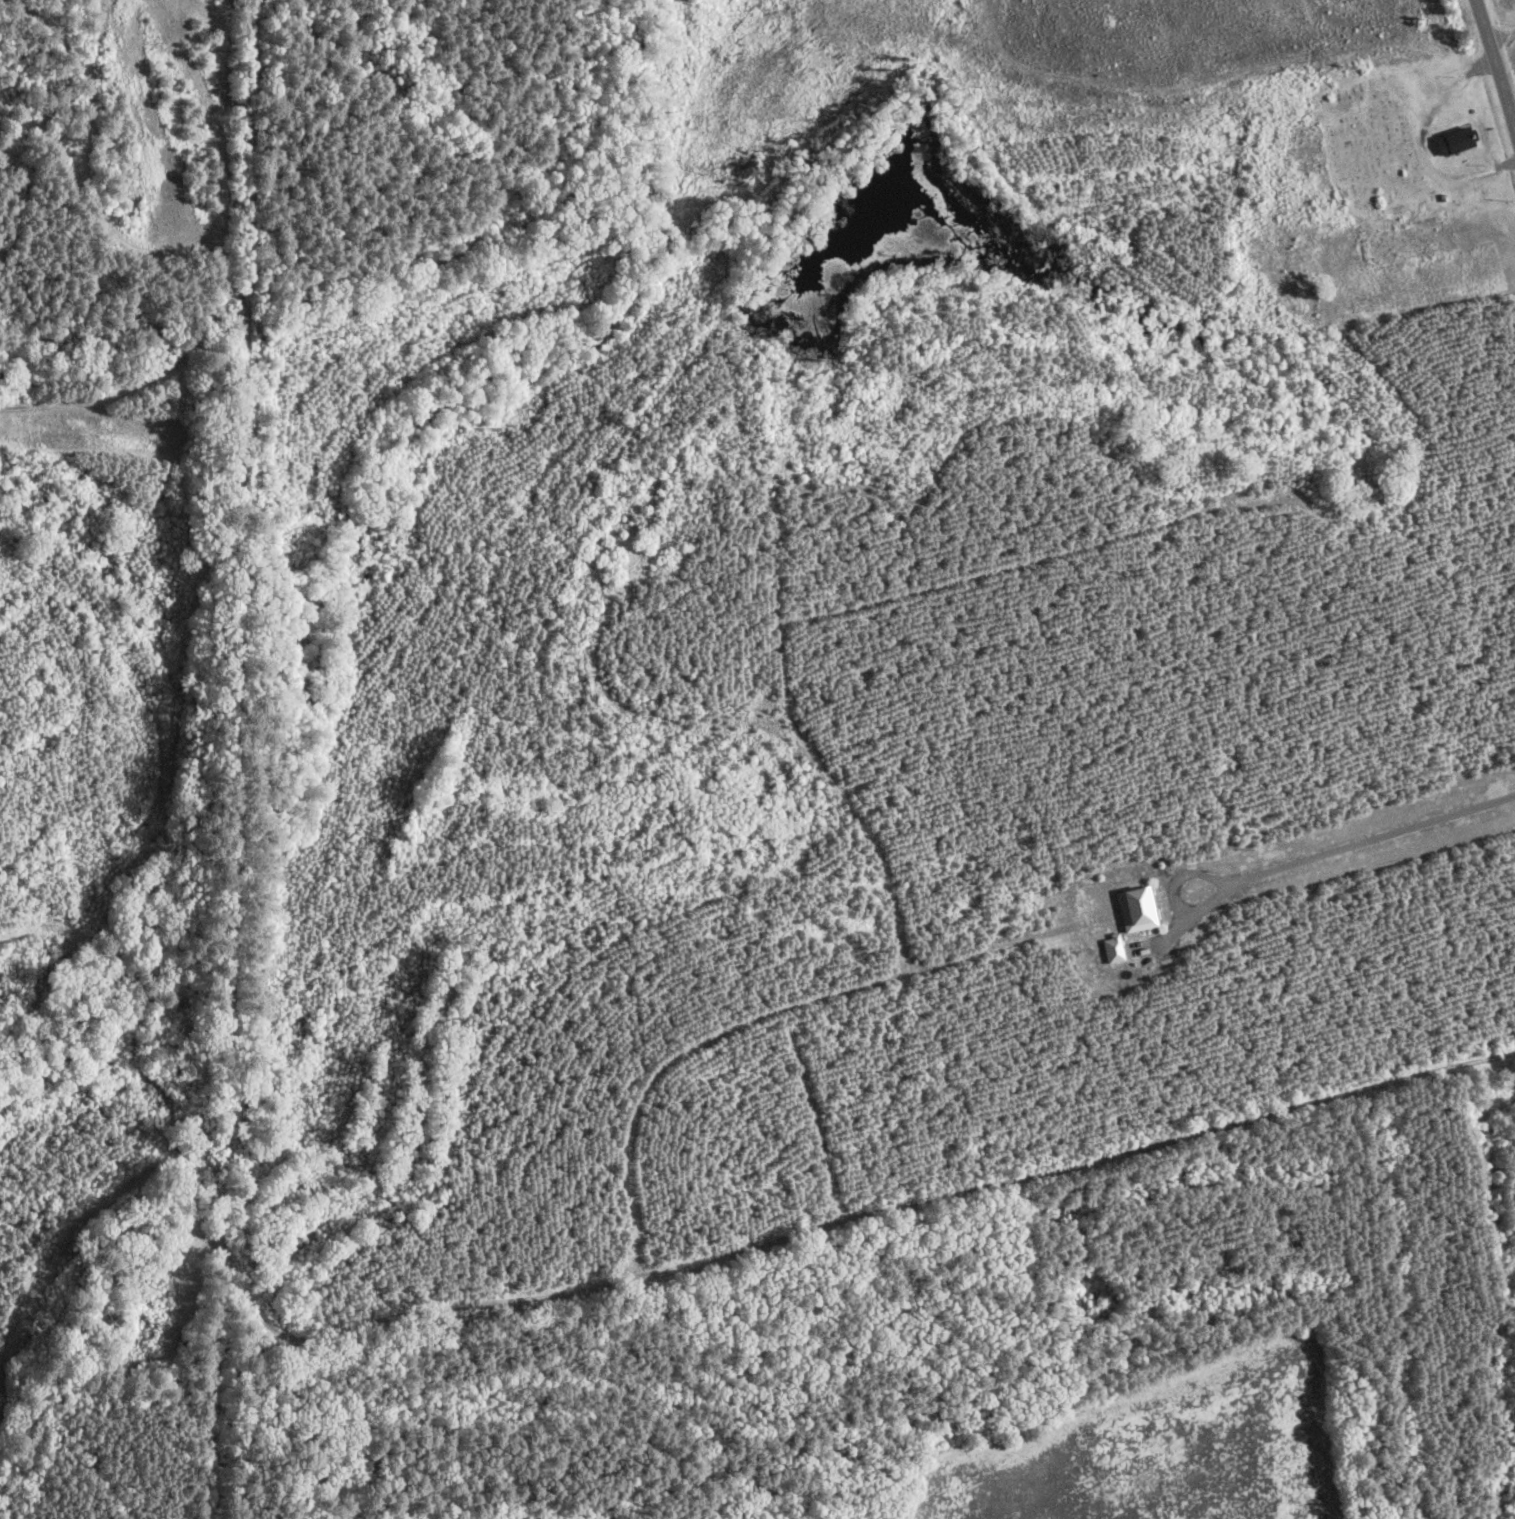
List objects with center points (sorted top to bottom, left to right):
road: (1502, 37)
road: (1495, 65)
building: (1454, 143)

